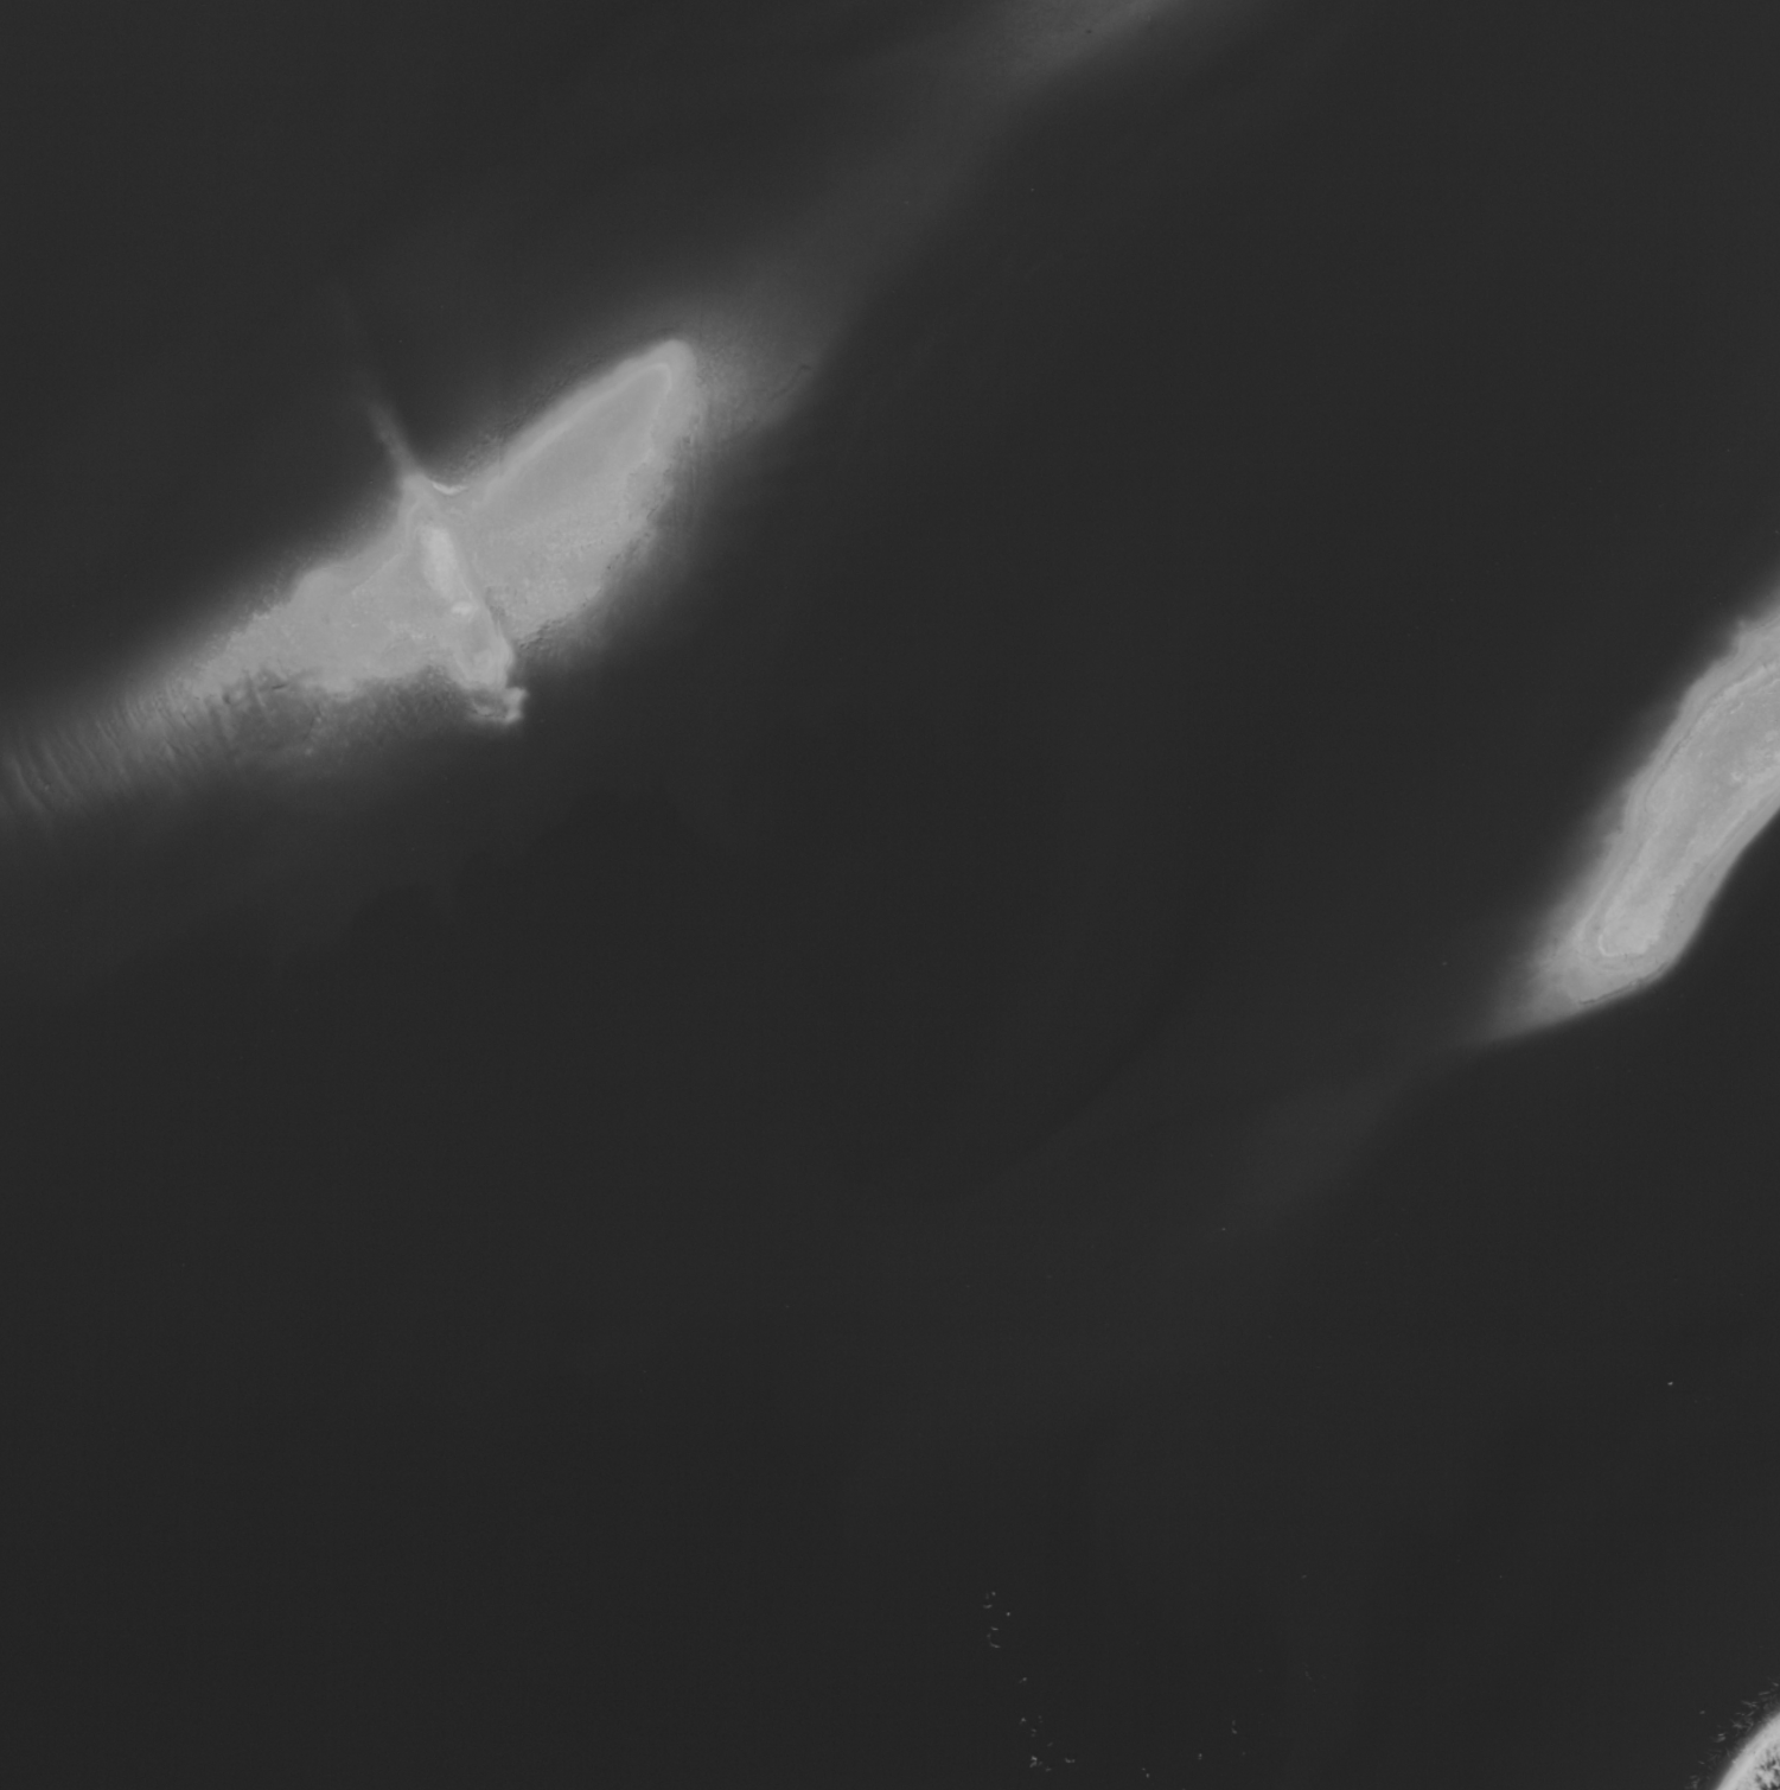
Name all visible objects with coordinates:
building: (1619, 1356)
building: (1657, 1386)
building: (1332, 1601)
building: (1586, 1624)

